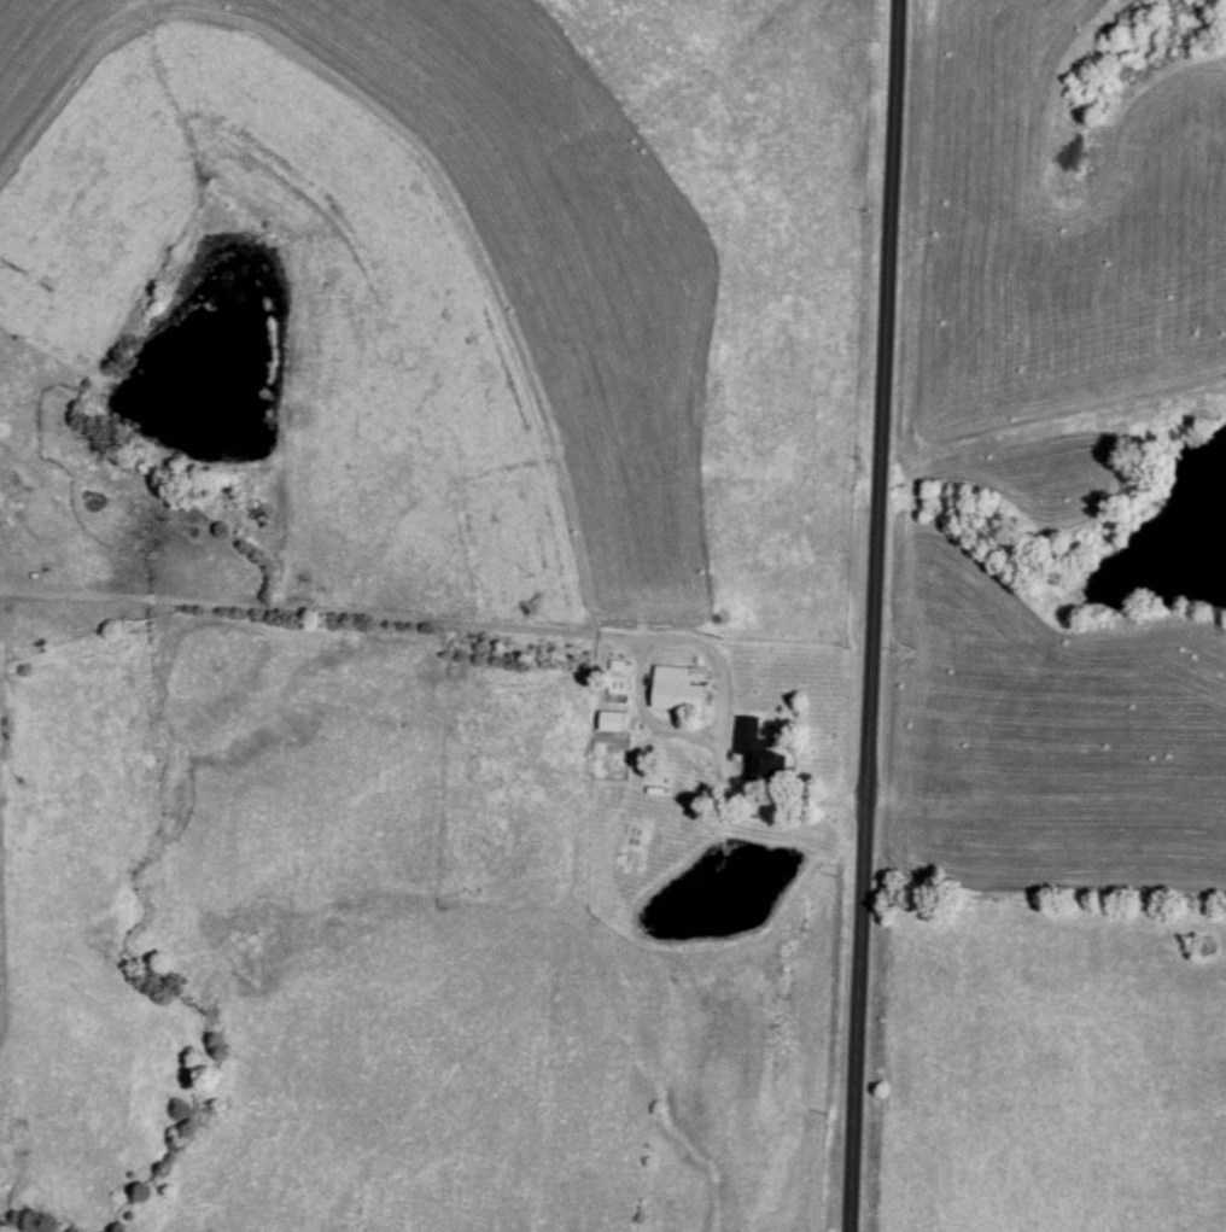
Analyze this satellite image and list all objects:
road: (883, 615)
road: (491, 629)
building: (679, 689)
building: (758, 757)

